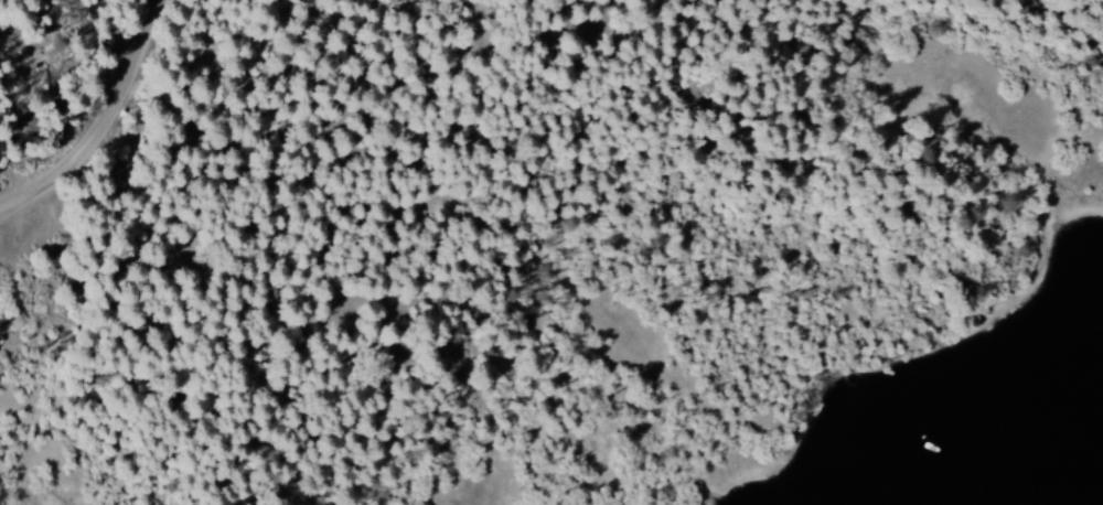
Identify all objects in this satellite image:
road: (115, 135)

